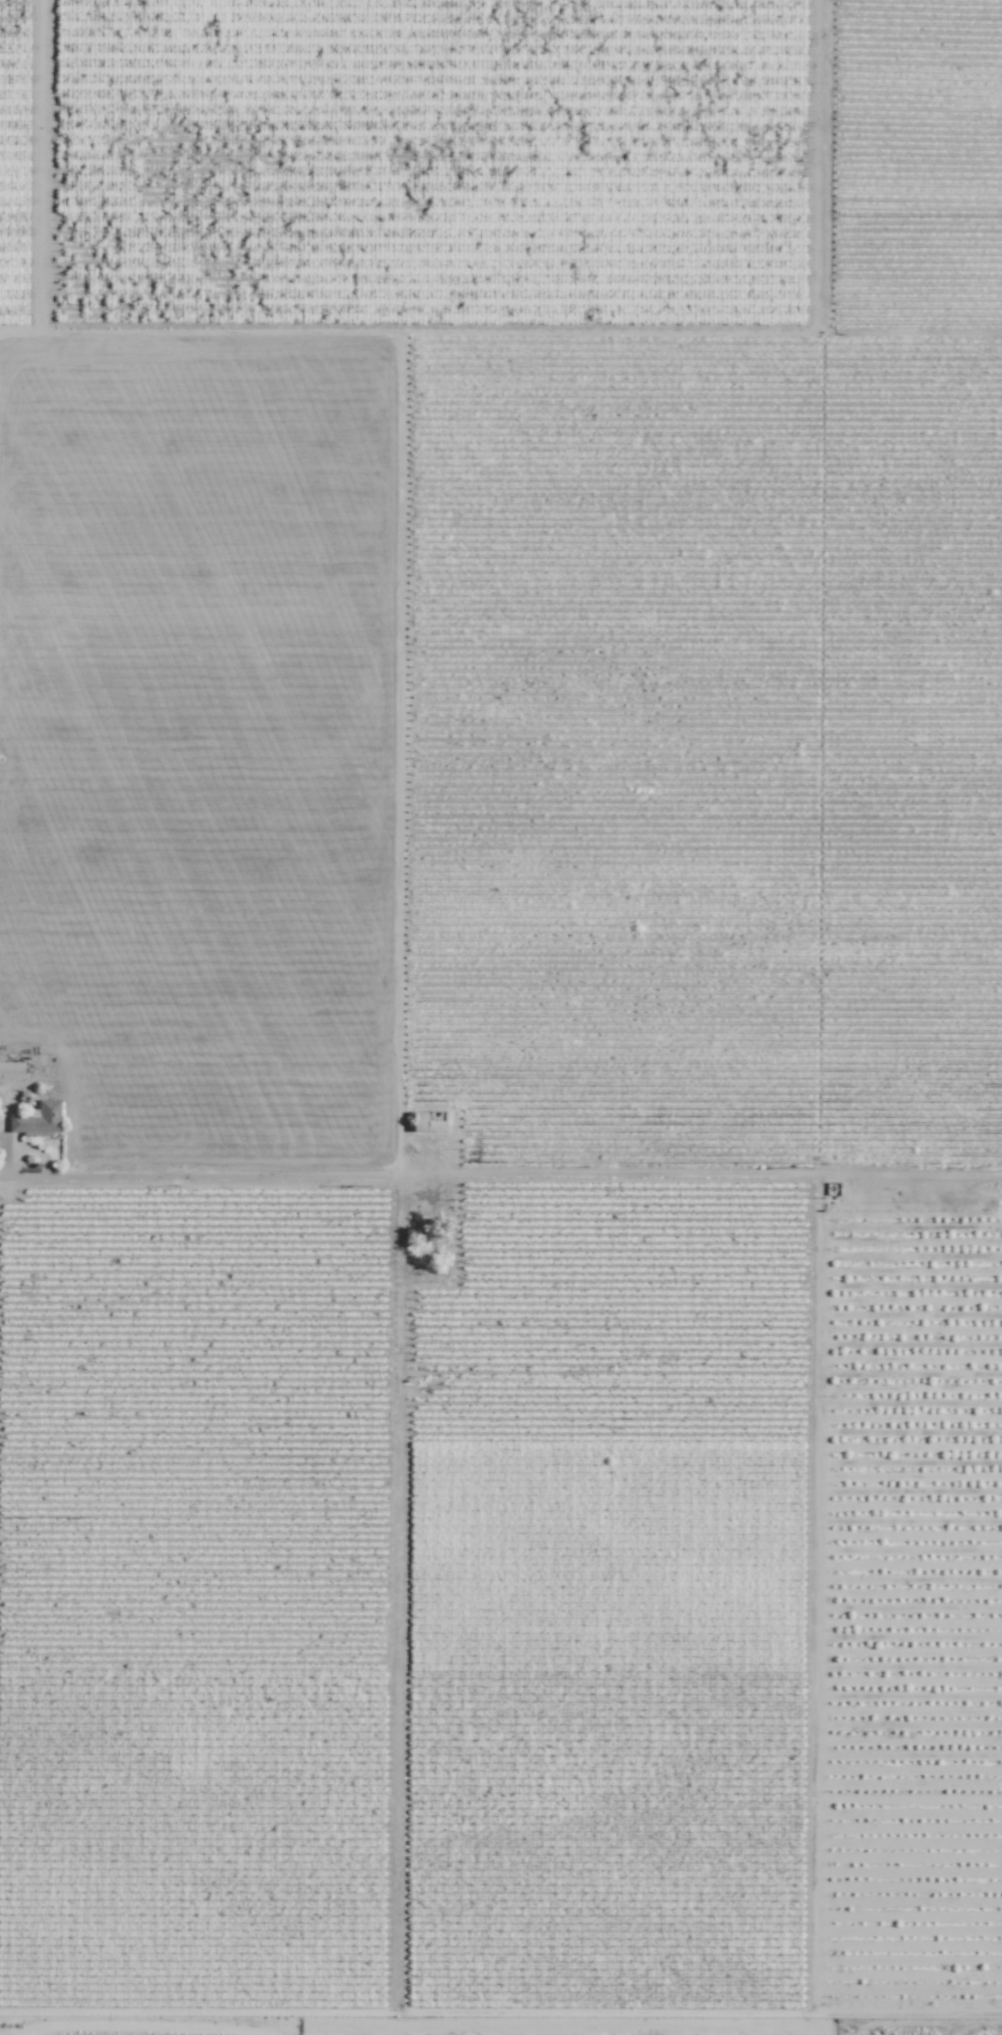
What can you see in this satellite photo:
road: (43, 186)
building: (11, 1070)
building: (37, 1119)
building: (428, 1121)
road: (196, 1174)
road: (697, 1177)
road: (395, 1790)

